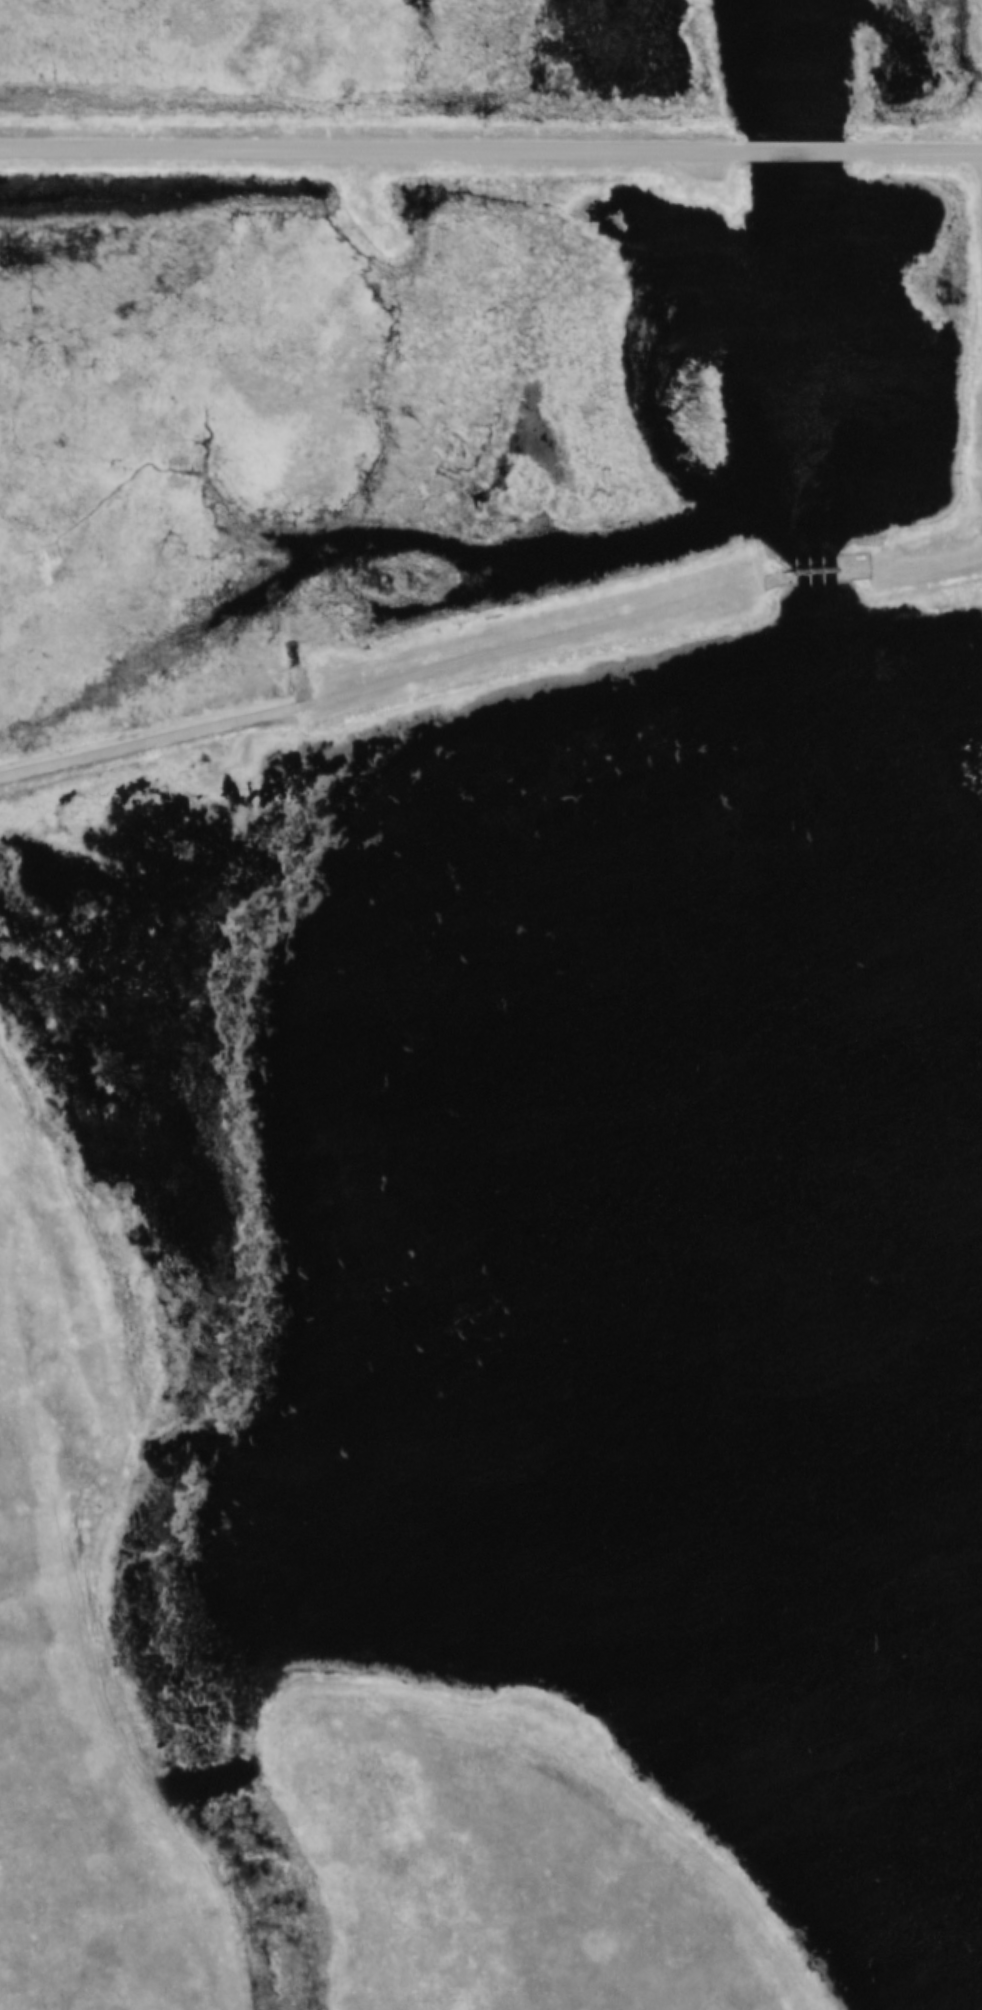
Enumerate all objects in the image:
road: (360, 144)
road: (783, 150)
road: (913, 152)
road: (980, 170)
road: (909, 562)
road: (813, 571)
river: (808, 580)
dam: (488, 657)
road: (396, 673)

